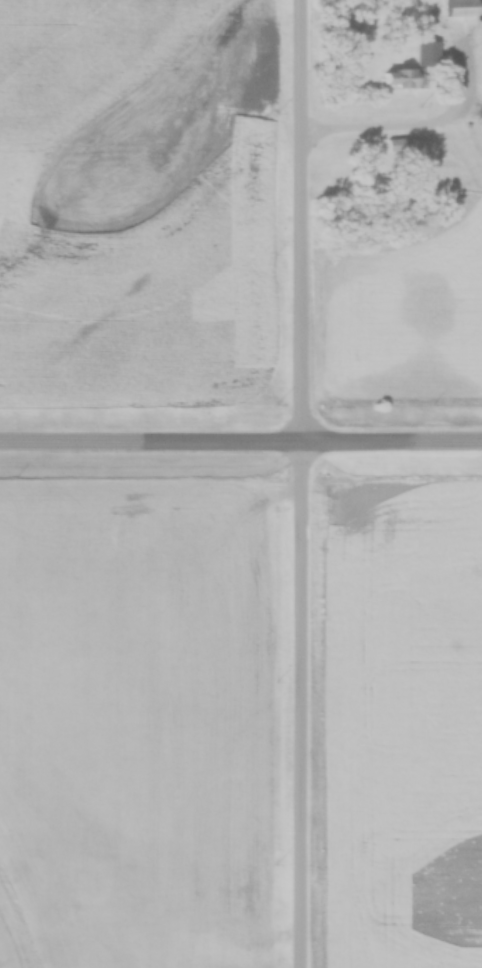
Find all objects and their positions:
building: (461, 8)
building: (404, 78)
road: (241, 442)
road: (306, 483)

